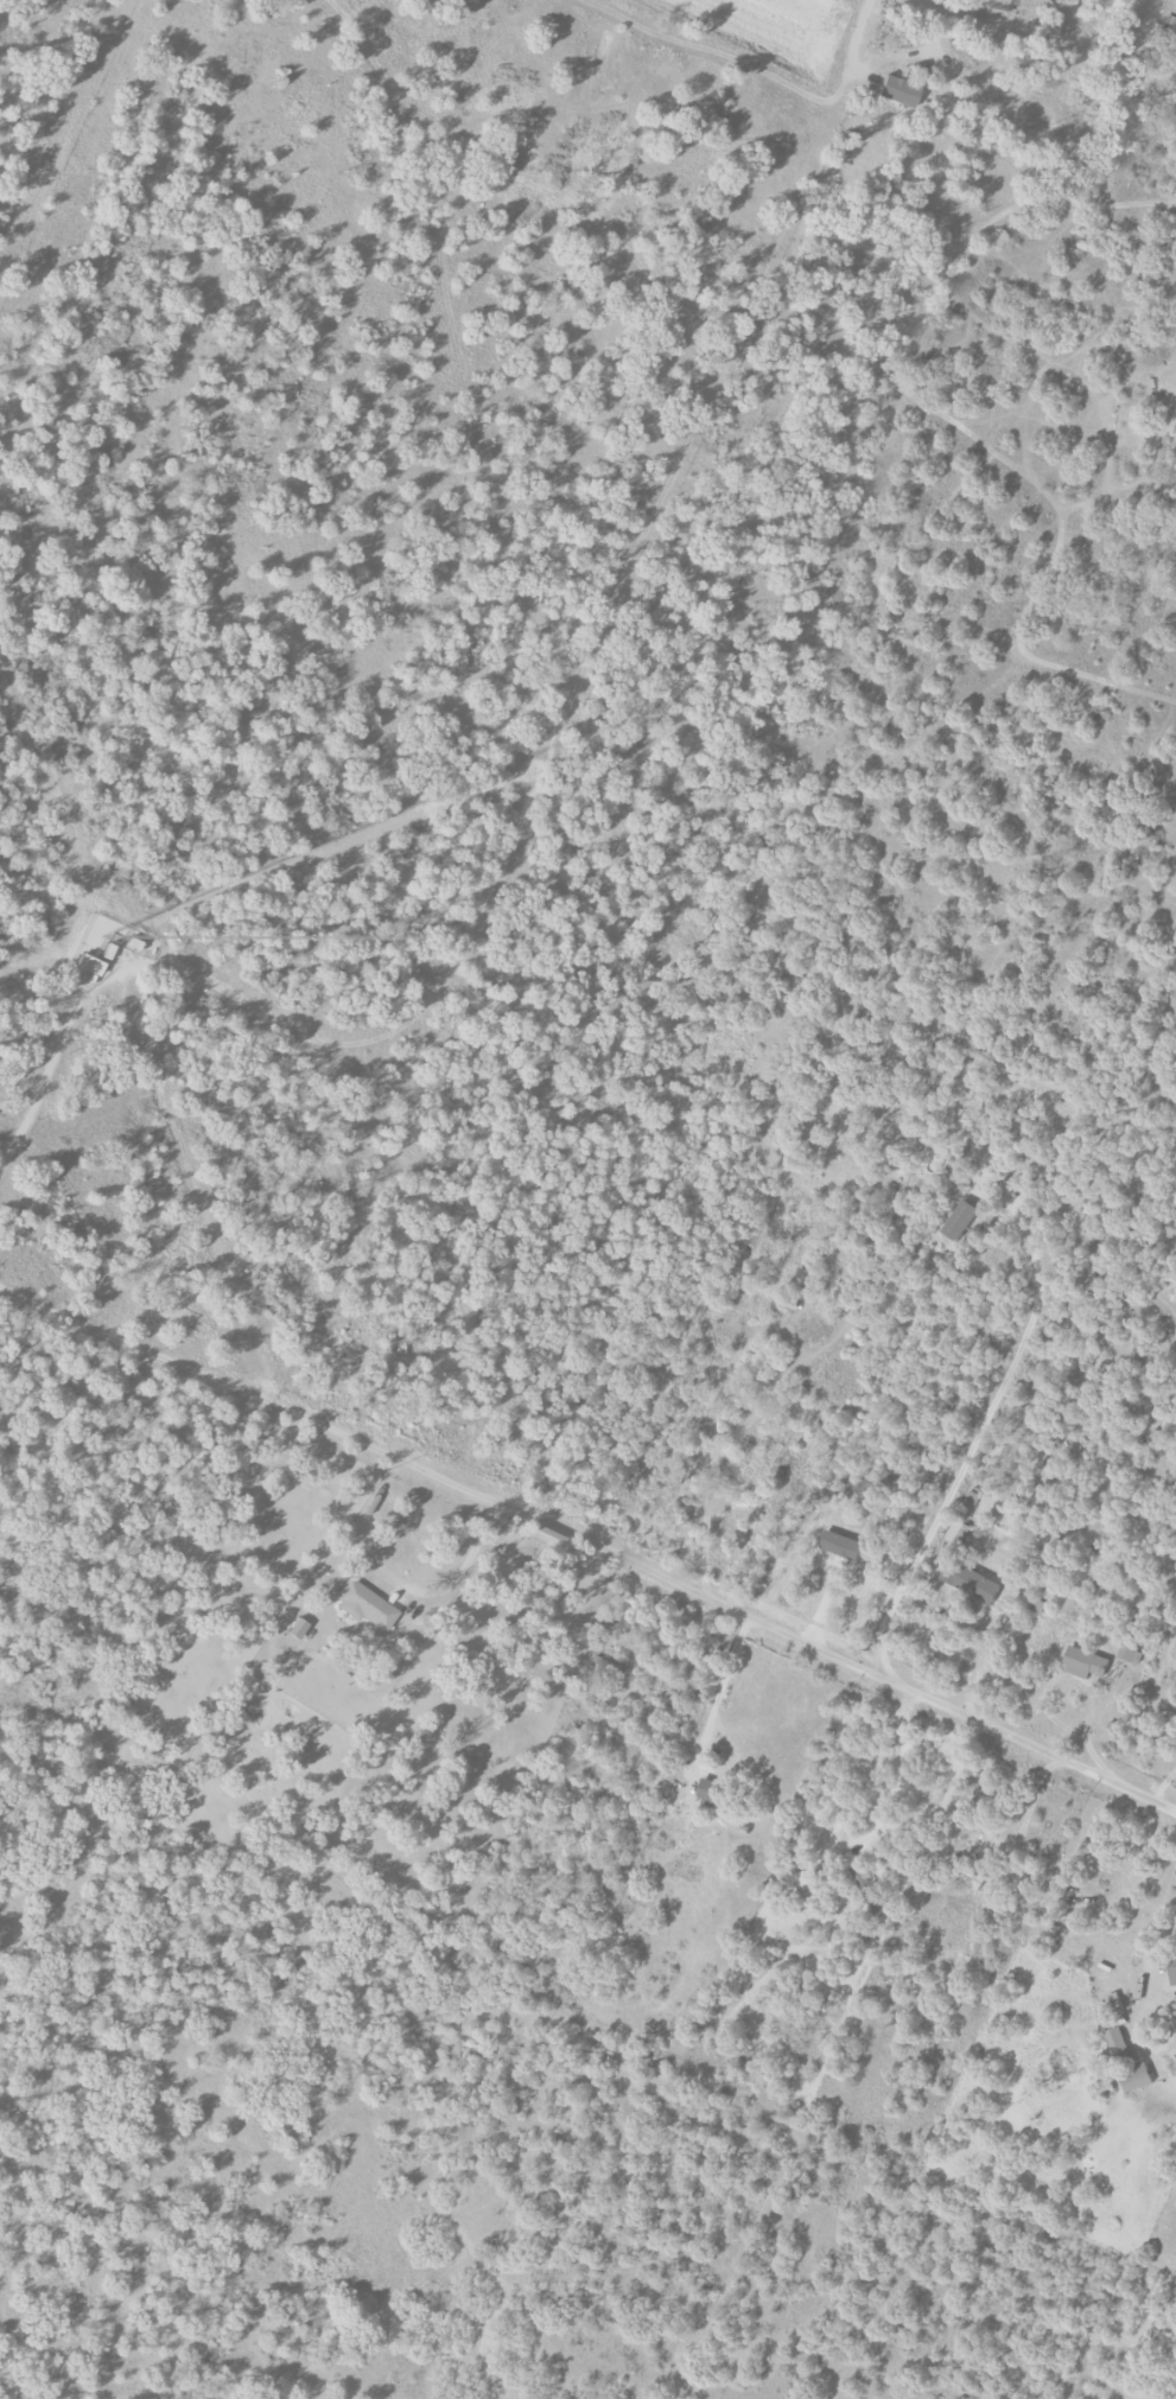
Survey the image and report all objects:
road: (894, 58)
building: (898, 91)
road: (568, 705)
road: (324, 849)
building: (90, 965)
building: (961, 1221)
building: (795, 1389)
road: (980, 1420)
building: (742, 1501)
building: (958, 1533)
building: (844, 1545)
road: (589, 1547)
road: (393, 1574)
building: (972, 1582)
building: (364, 1605)
building: (298, 1629)
building: (1127, 1648)
building: (1086, 1663)
road: (1078, 1682)
road: (716, 1691)
road: (897, 1771)
building: (711, 1789)
building: (966, 1873)
building: (811, 1884)
road: (1151, 1923)
building: (1172, 1968)
building: (1129, 2062)

